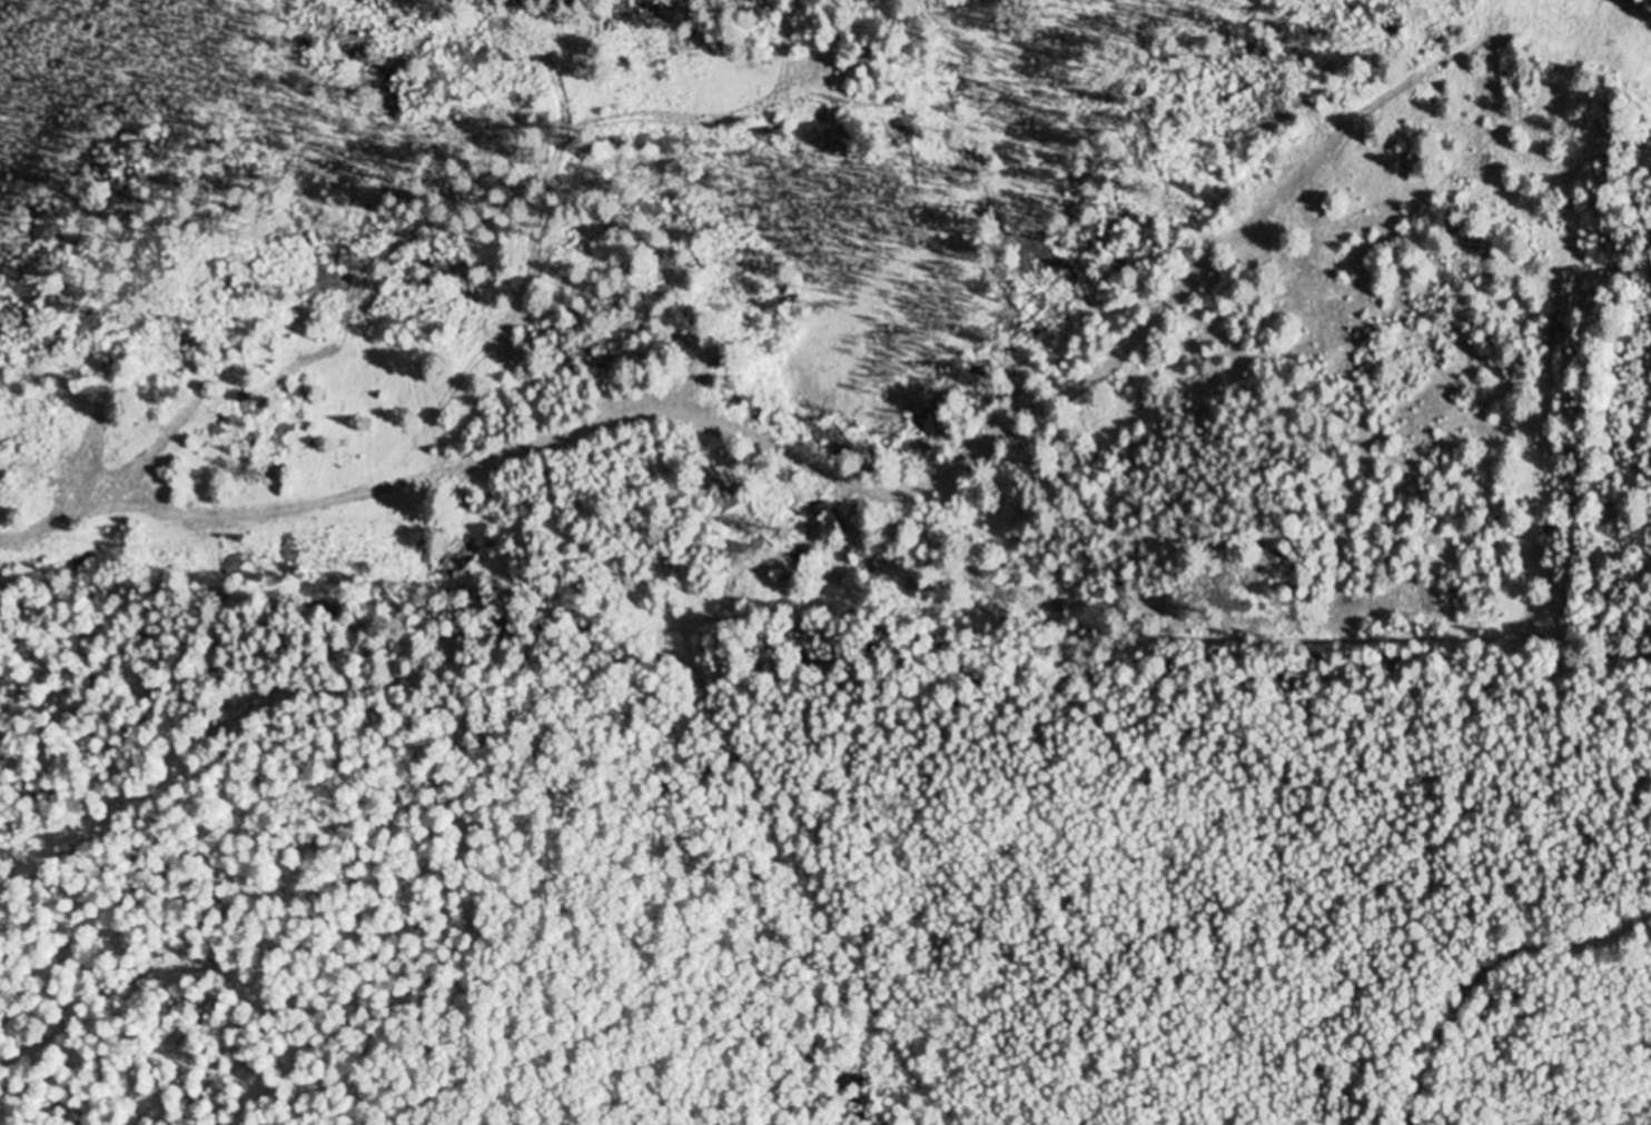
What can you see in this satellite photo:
road: (1492, 973)

